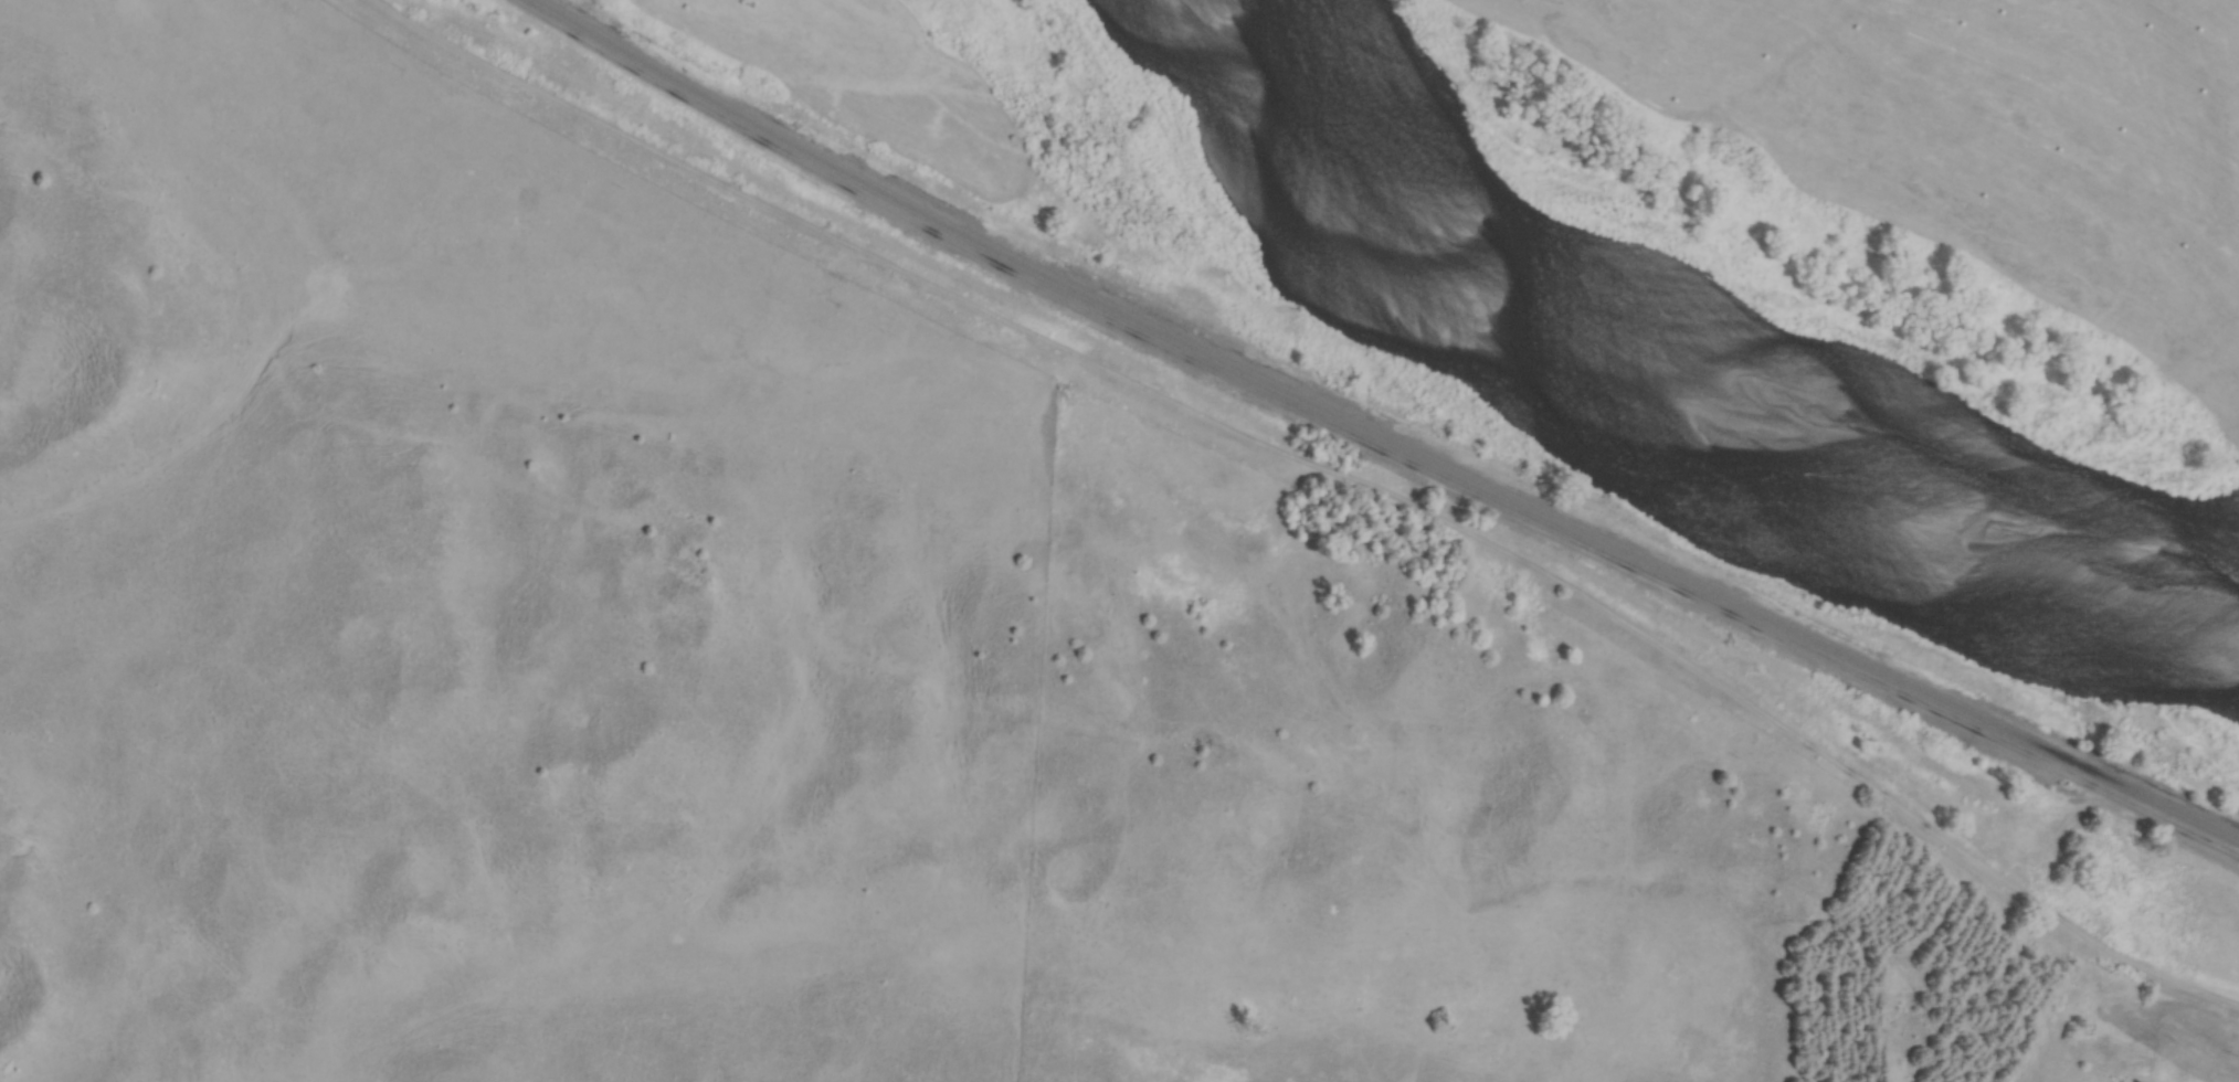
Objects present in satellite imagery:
river: (1665, 399)
railway: (1381, 438)

